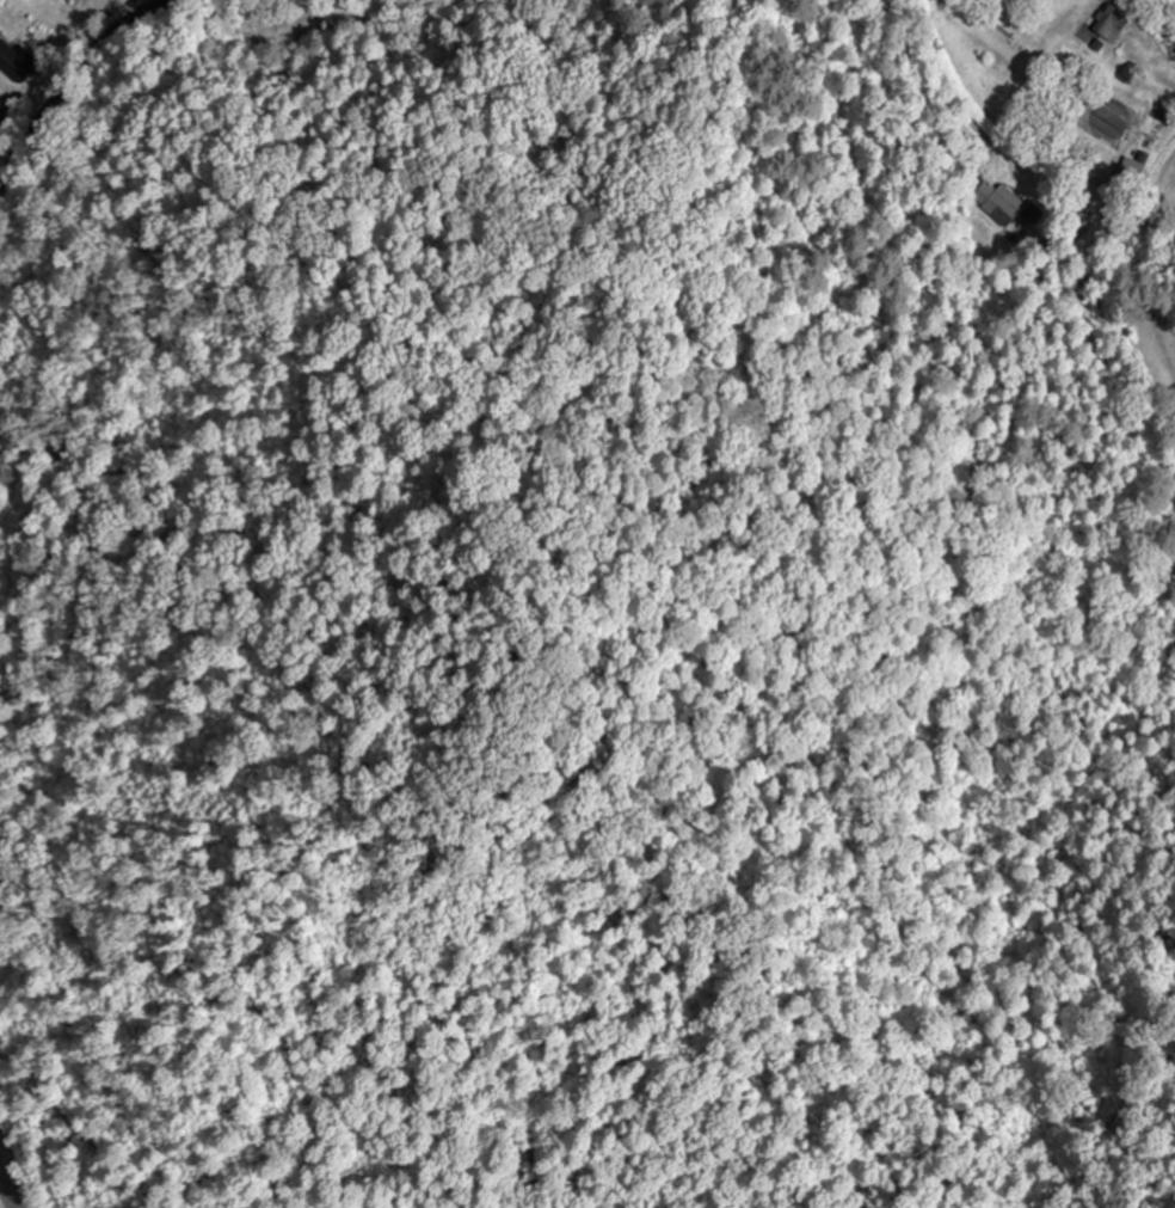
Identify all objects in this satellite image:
building: (1113, 22)
building: (12, 61)
road: (76, 69)
building: (2, 111)
building: (1003, 206)

